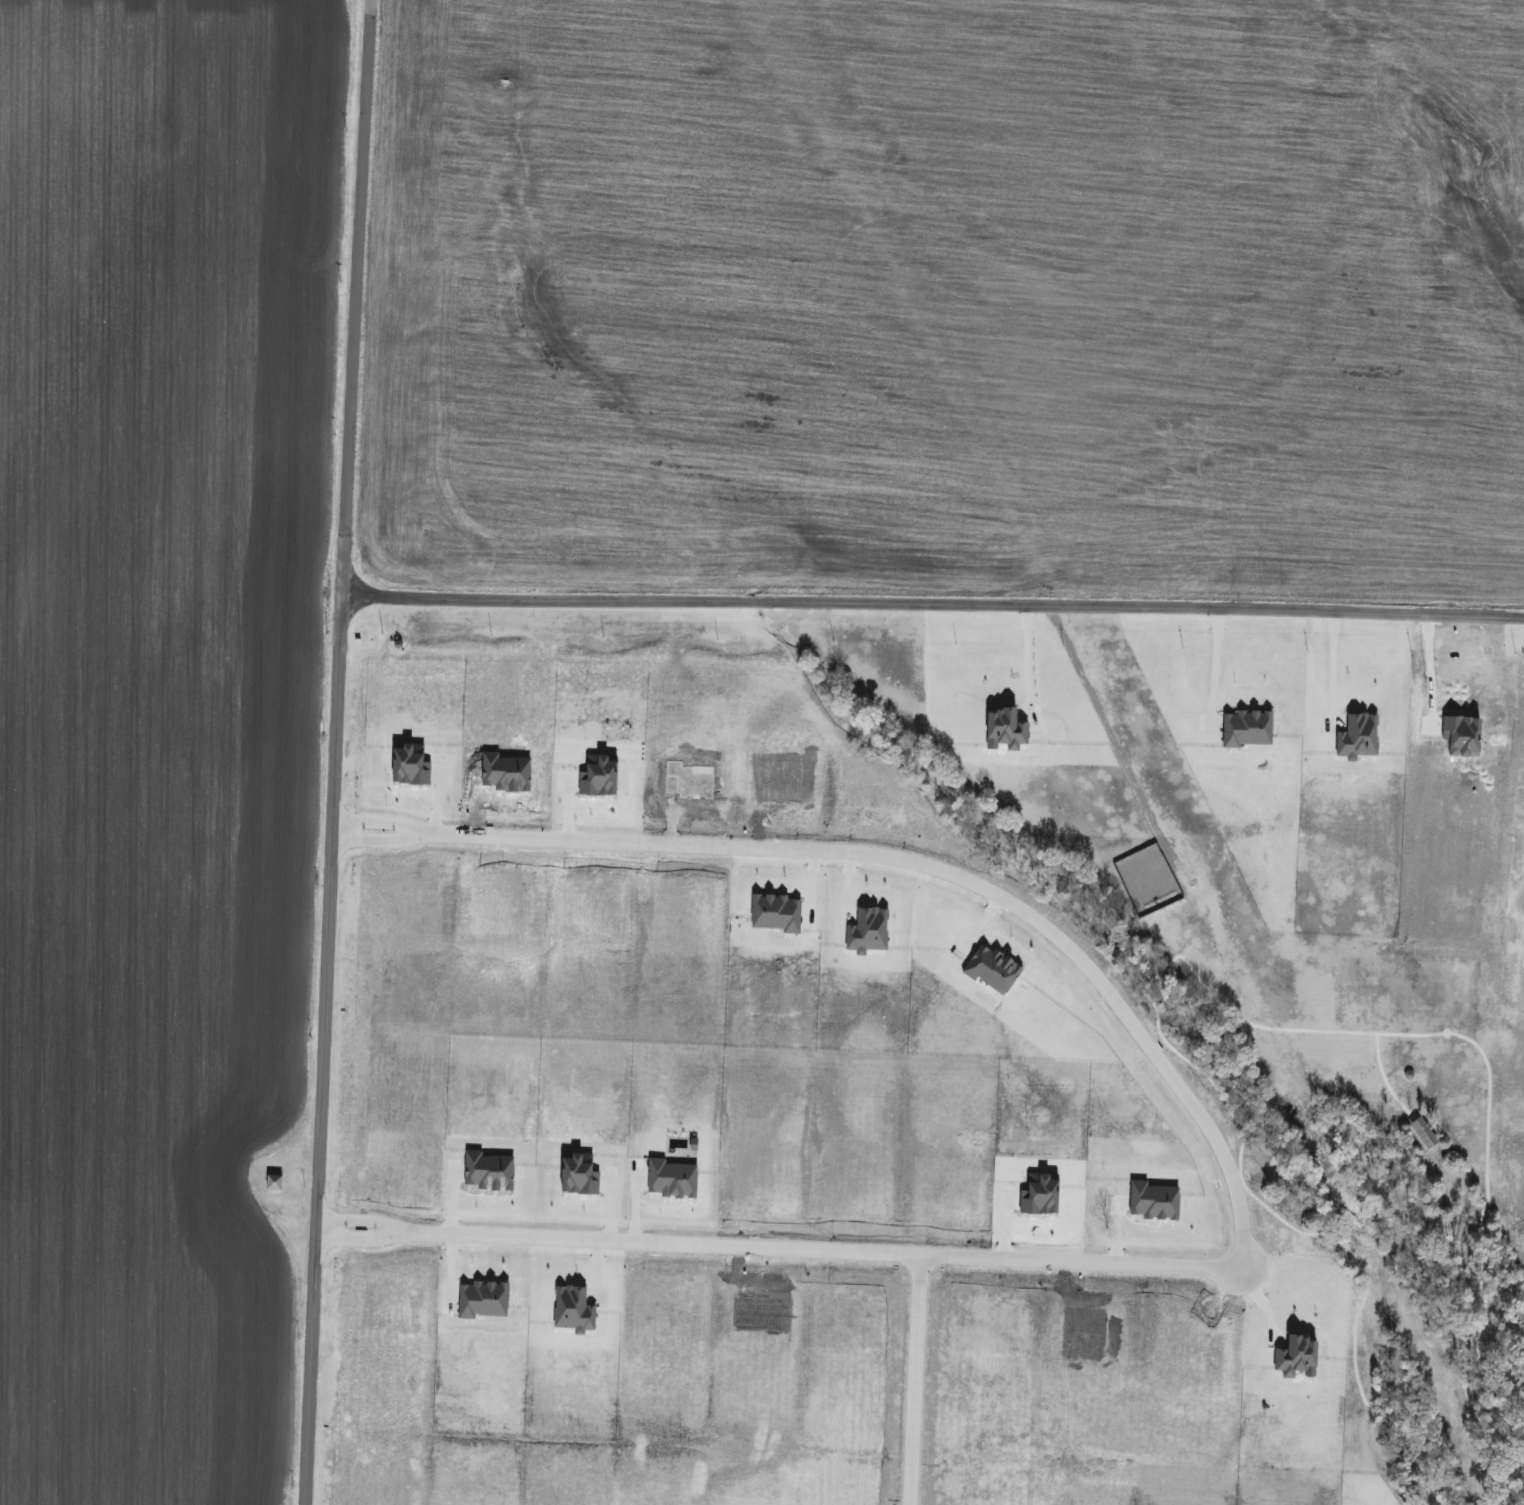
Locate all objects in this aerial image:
road: (932, 604)
road: (1025, 654)
road: (1212, 660)
road: (1330, 665)
road: (1108, 726)
road: (333, 752)
road: (372, 822)
road: (372, 841)
road: (1222, 1162)
building: (272, 1183)
road: (361, 1217)
road: (360, 1240)
road: (597, 1298)
road: (912, 1378)

